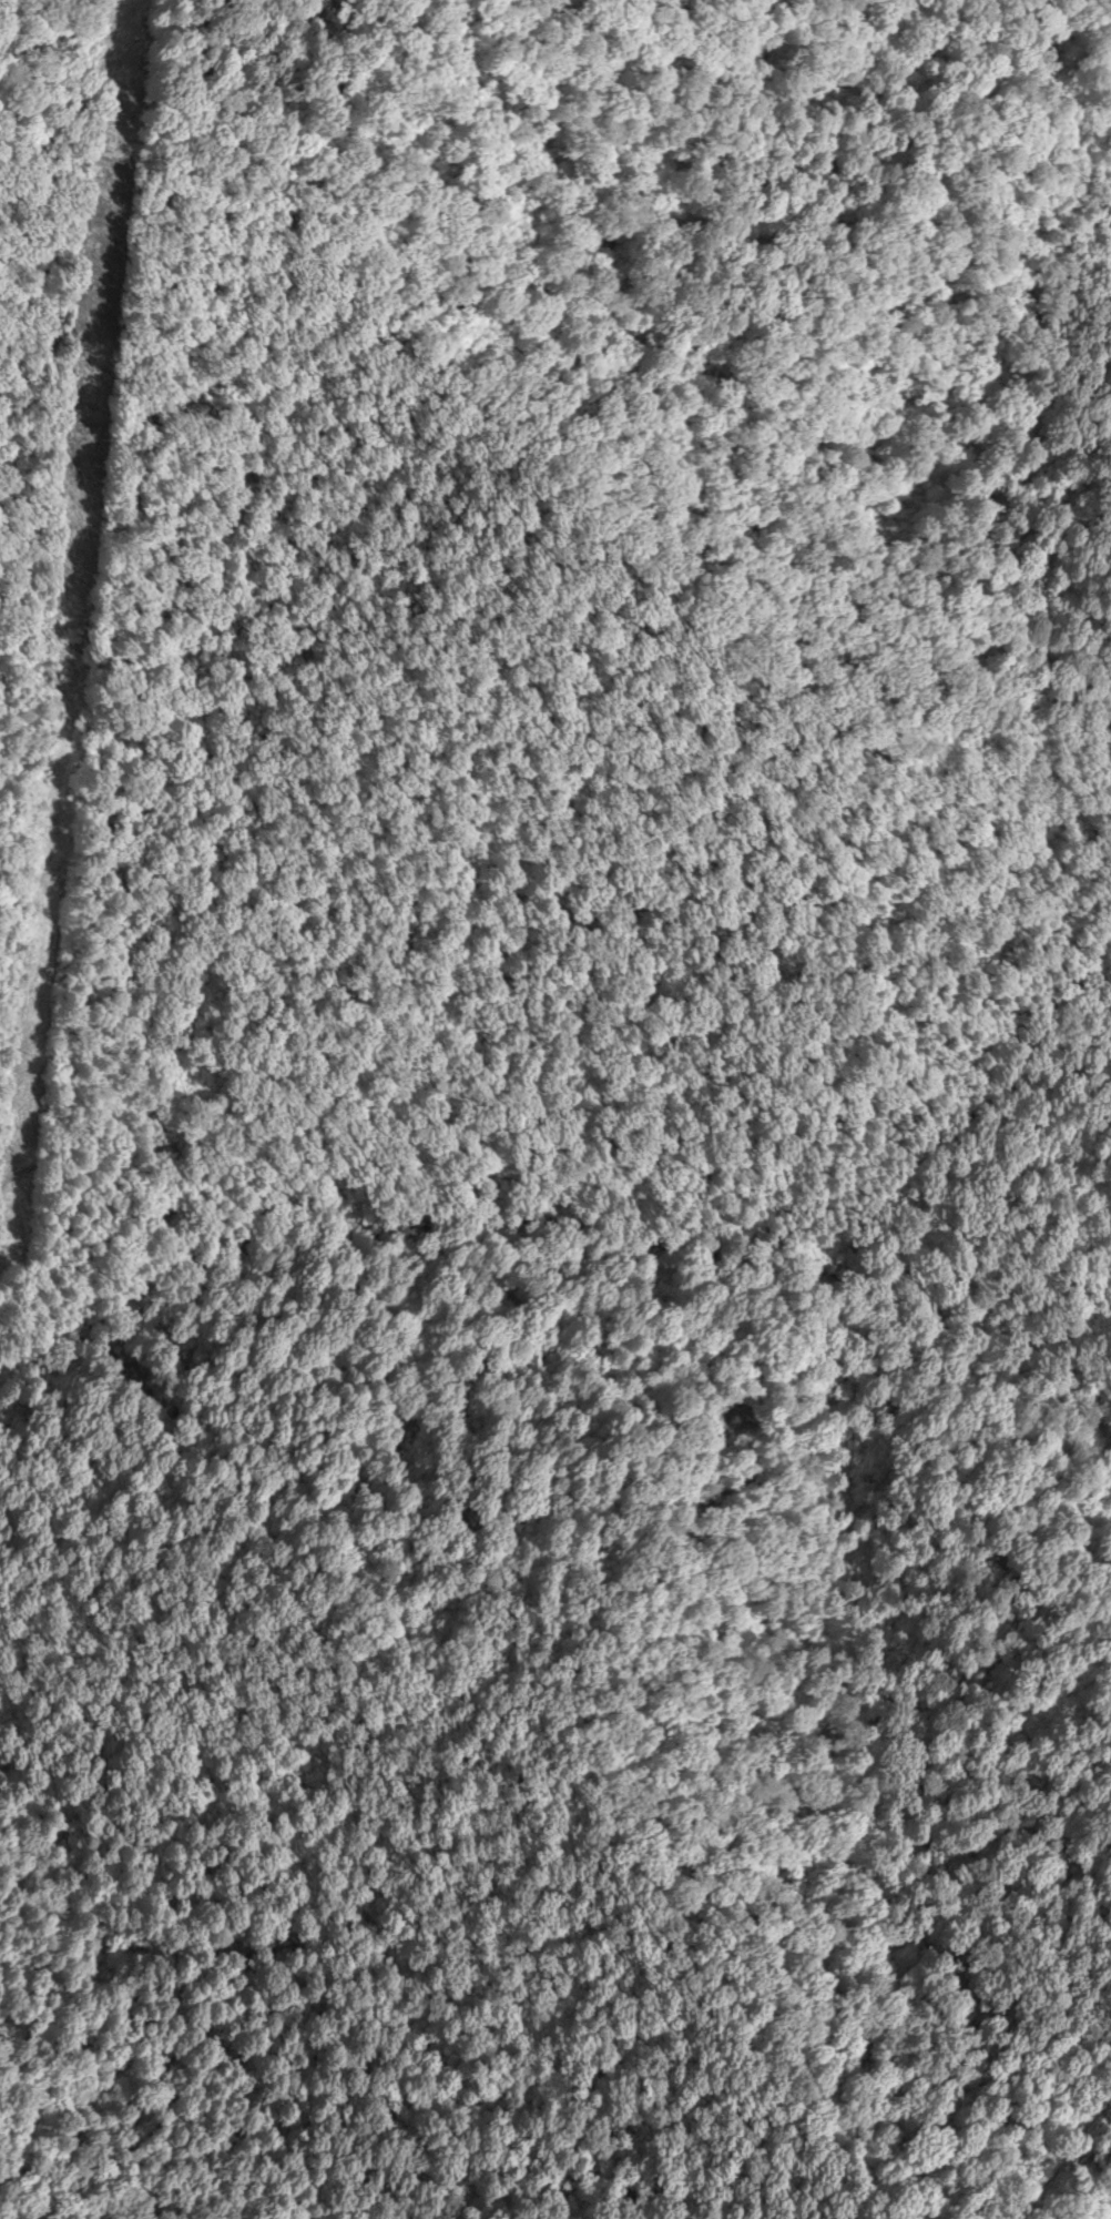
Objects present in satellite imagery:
road: (59, 606)

